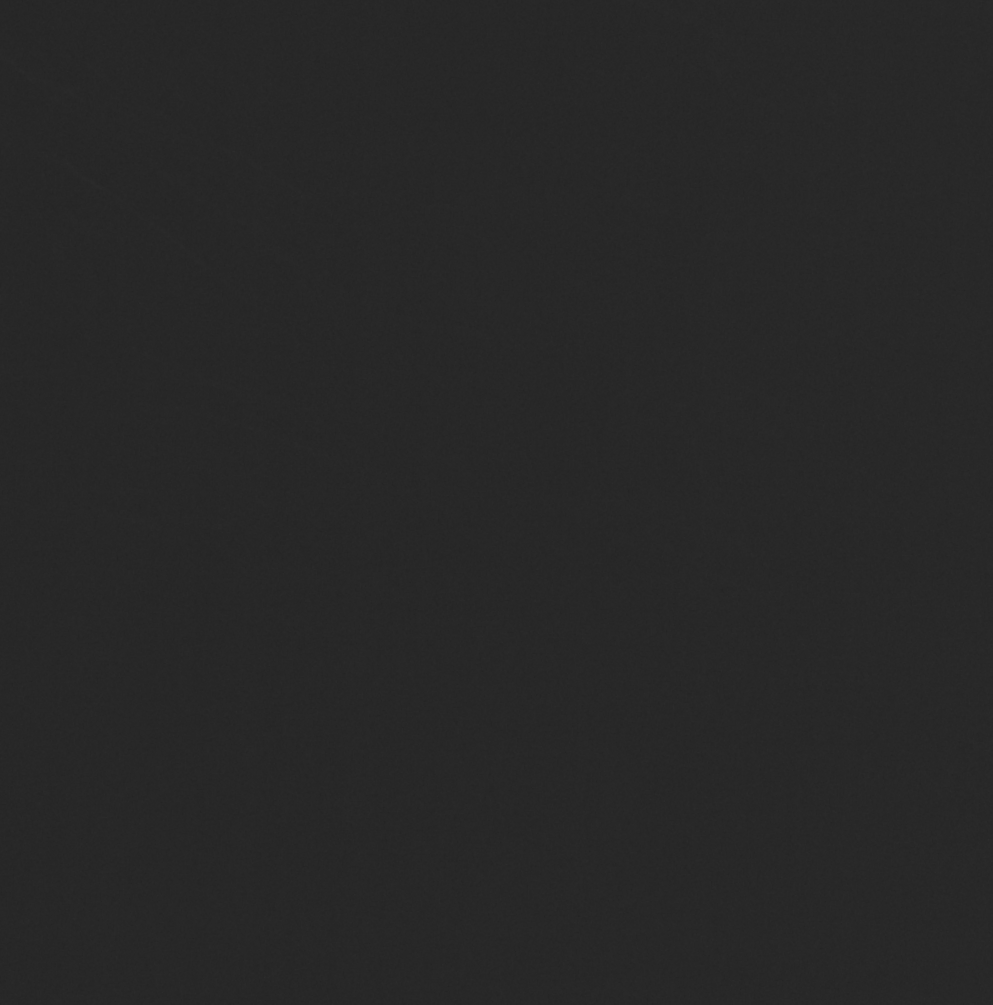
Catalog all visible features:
river: (468, 785)

